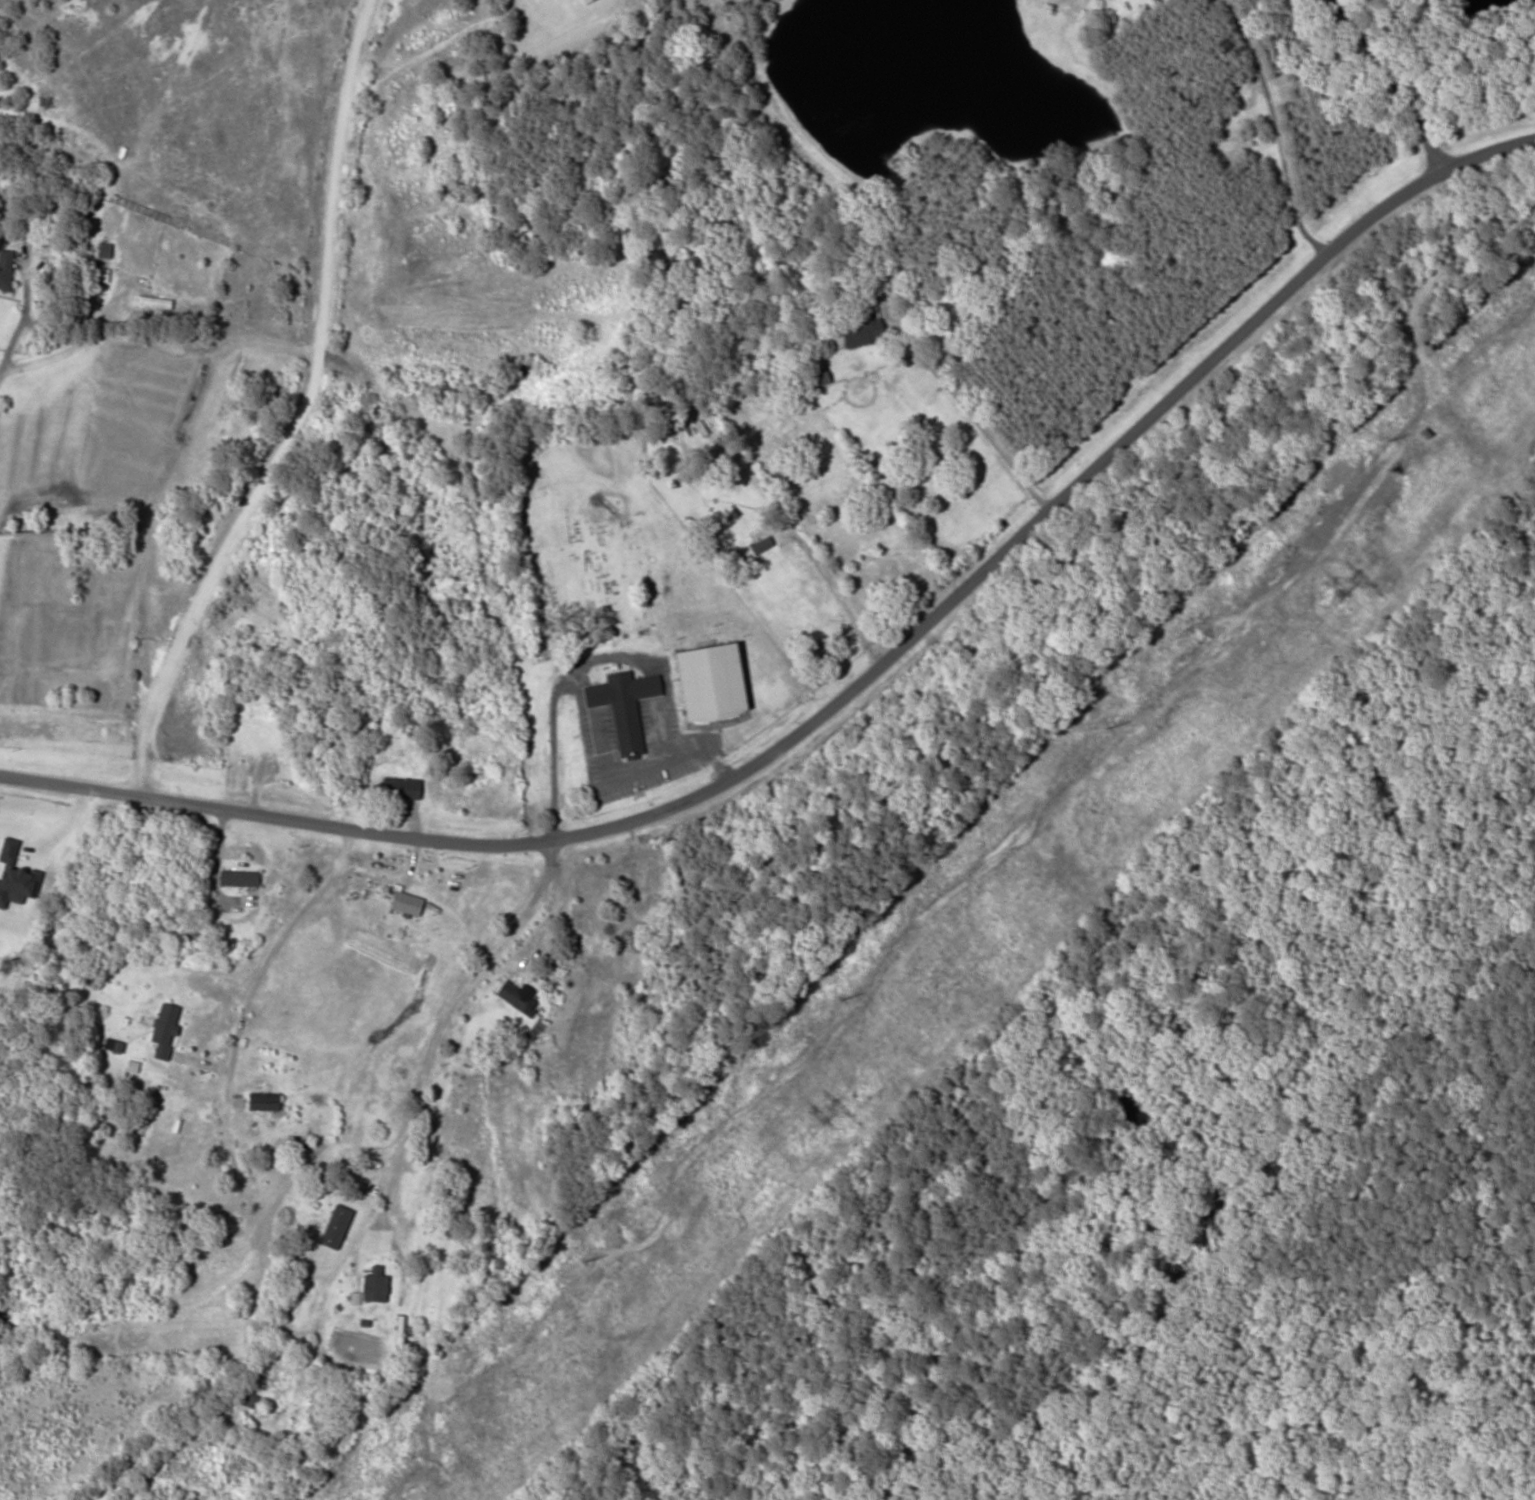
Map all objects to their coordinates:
road: (1389, 81)
building: (104, 250)
building: (5, 269)
building: (102, 275)
building: (154, 302)
road: (303, 304)
building: (863, 331)
building: (819, 379)
road: (540, 391)
road: (1057, 508)
power tower: (1347, 576)
building: (713, 682)
building: (624, 707)
building: (254, 735)
building: (402, 788)
road: (277, 819)
building: (650, 864)
building: (239, 878)
building: (402, 903)
road: (661, 977)
building: (517, 999)
building: (165, 1030)
building: (470, 1058)
building: (264, 1102)
power tower: (832, 1107)
road: (386, 1210)
building: (331, 1225)
building: (375, 1288)
building: (245, 1404)

